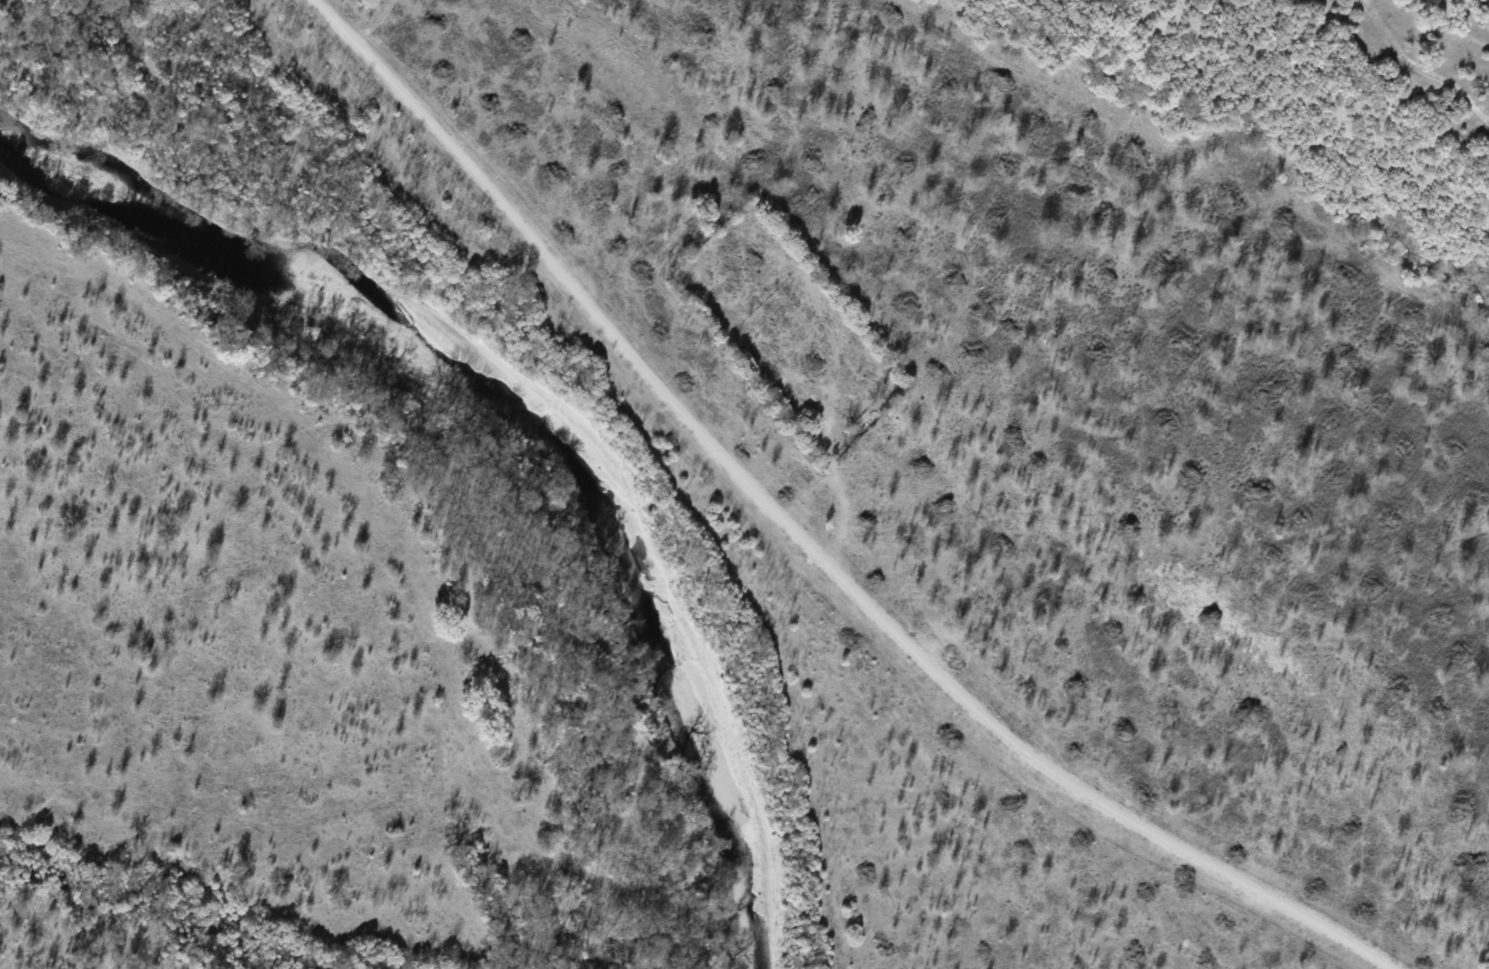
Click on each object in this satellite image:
river: (542, 413)
road: (813, 543)

